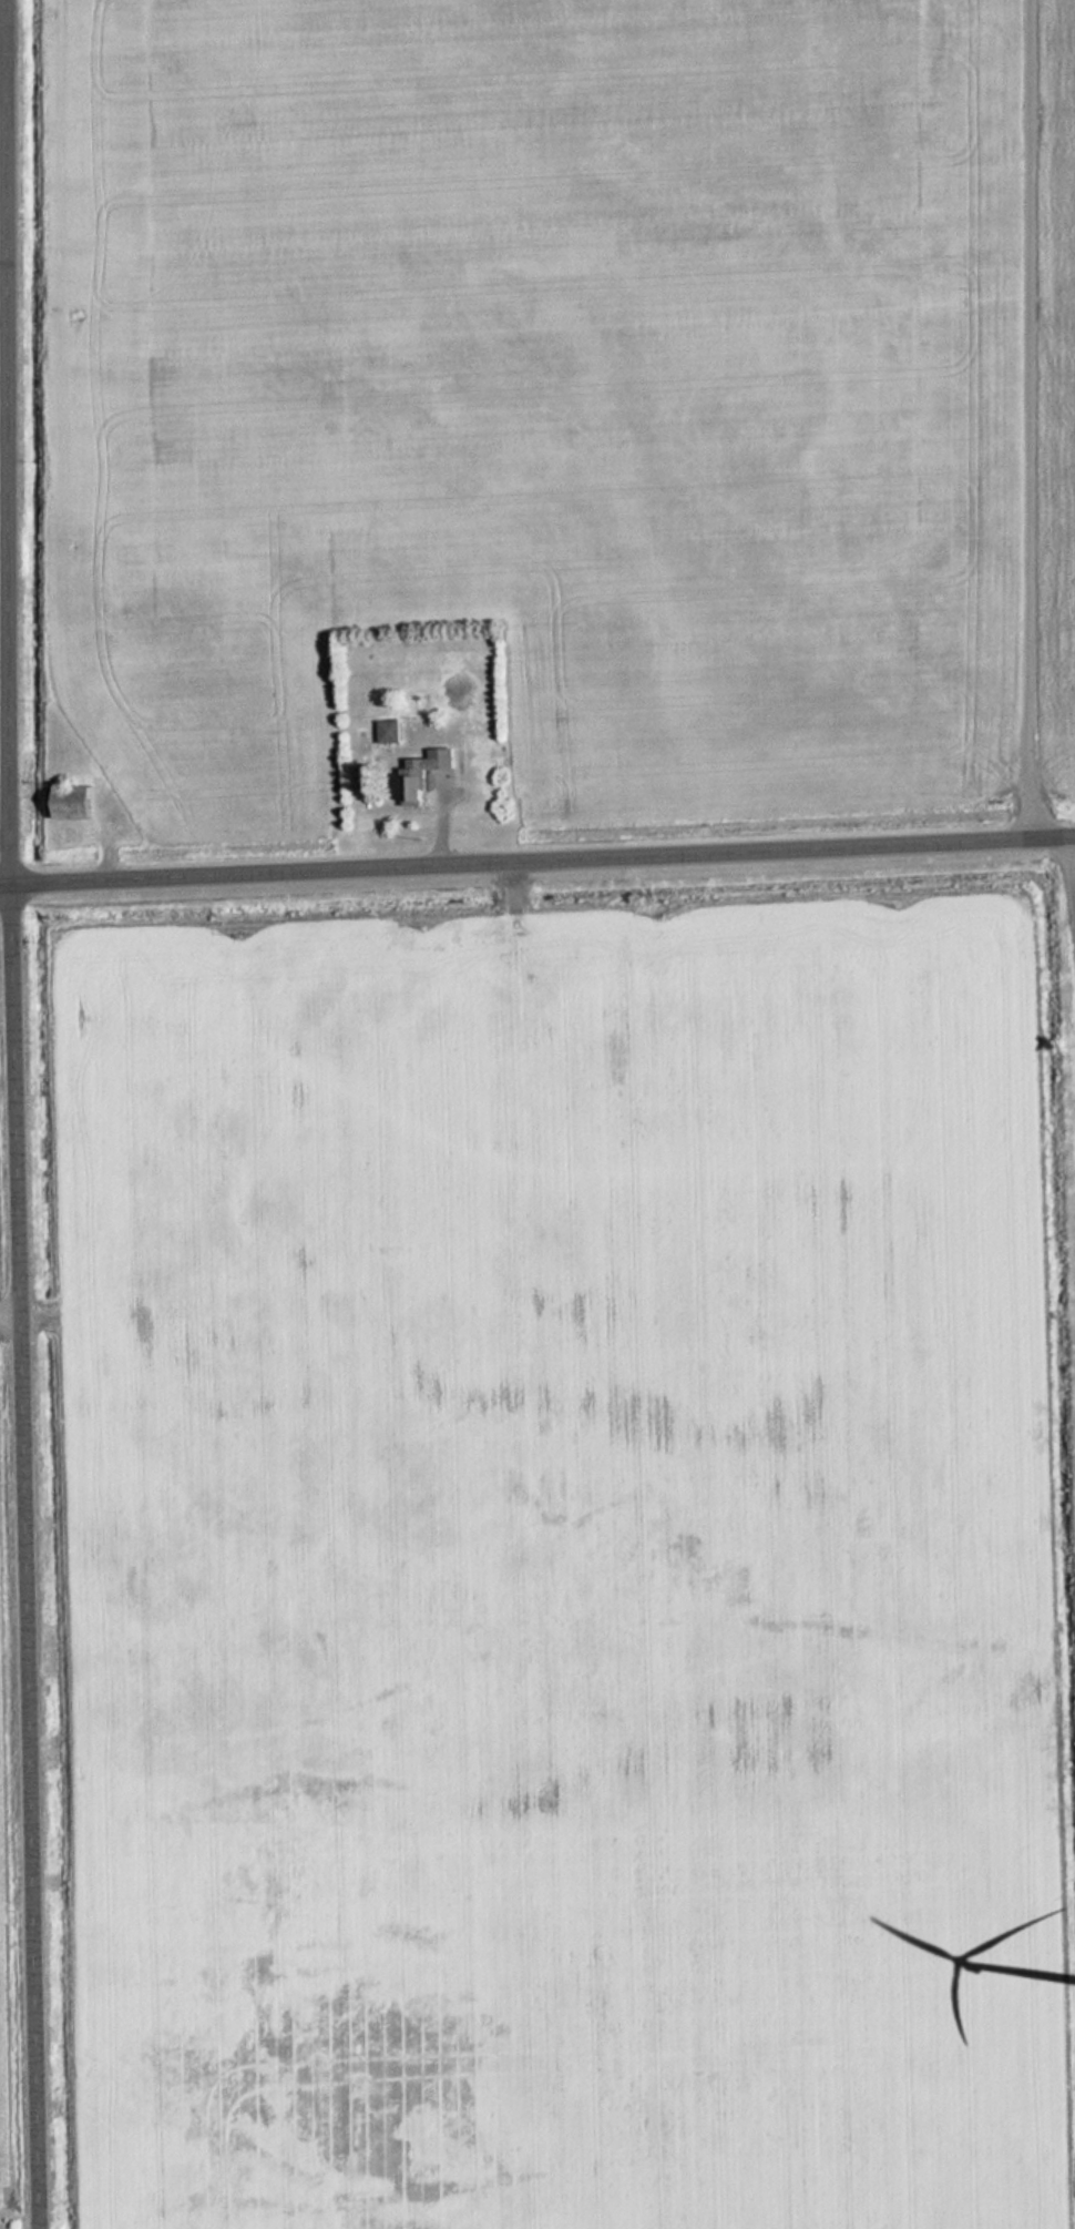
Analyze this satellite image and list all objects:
road: (4, 72)
road: (1027, 418)
building: (391, 733)
building: (429, 775)
building: (80, 803)
road: (536, 859)
road: (25, 1113)
road: (14, 1317)

